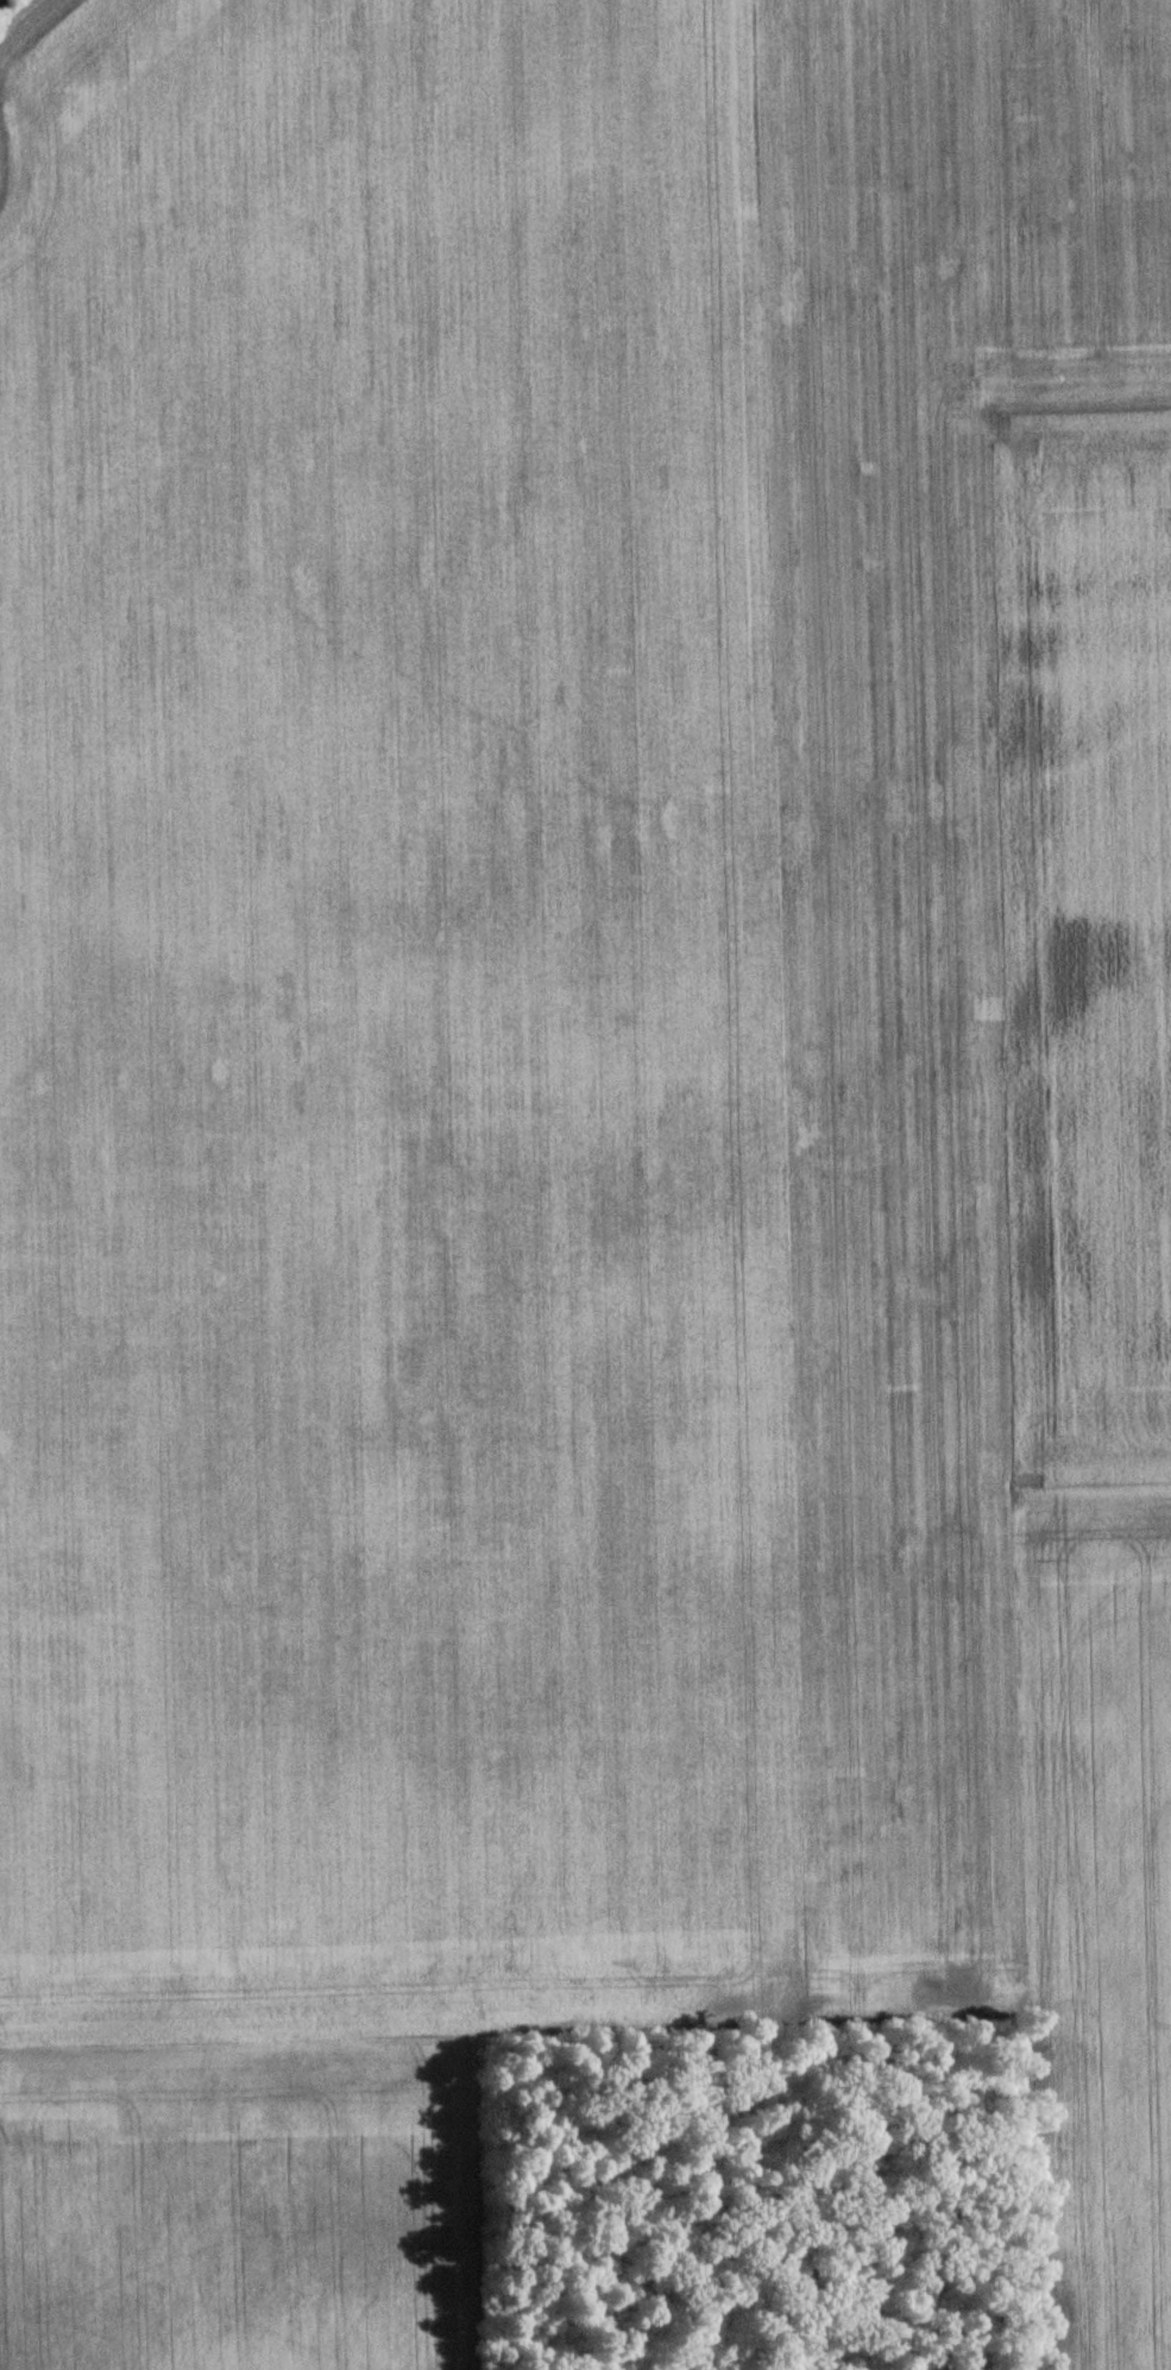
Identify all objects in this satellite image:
crop: (1083, 935)
crop: (518, 995)
crop: (1093, 1923)
crop: (229, 2206)

